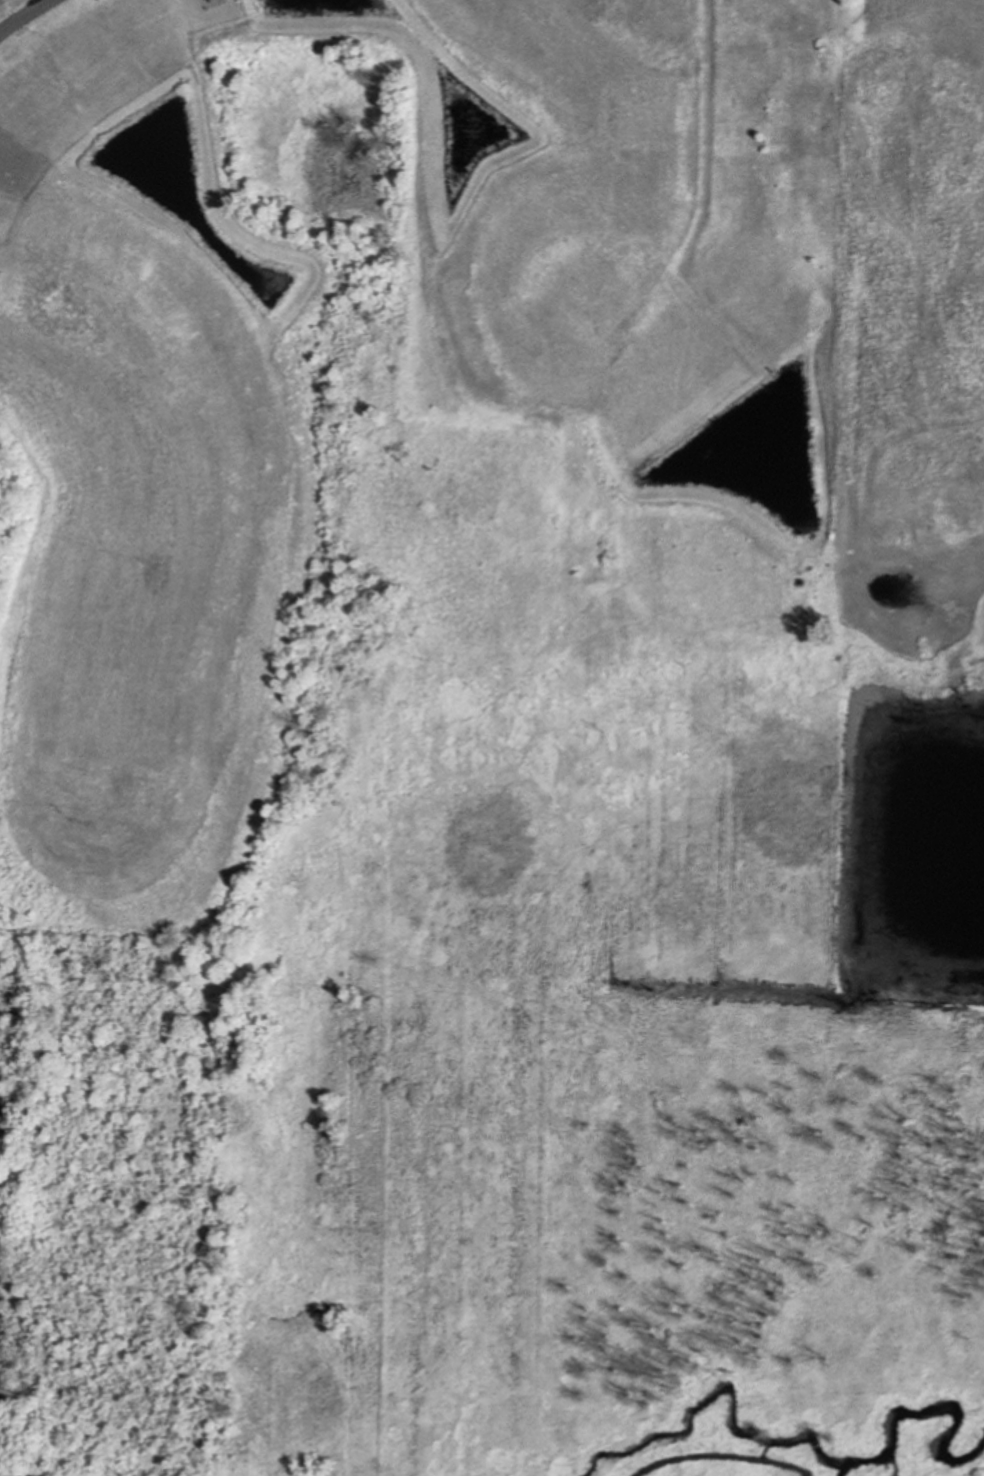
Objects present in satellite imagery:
road: (22, 14)

